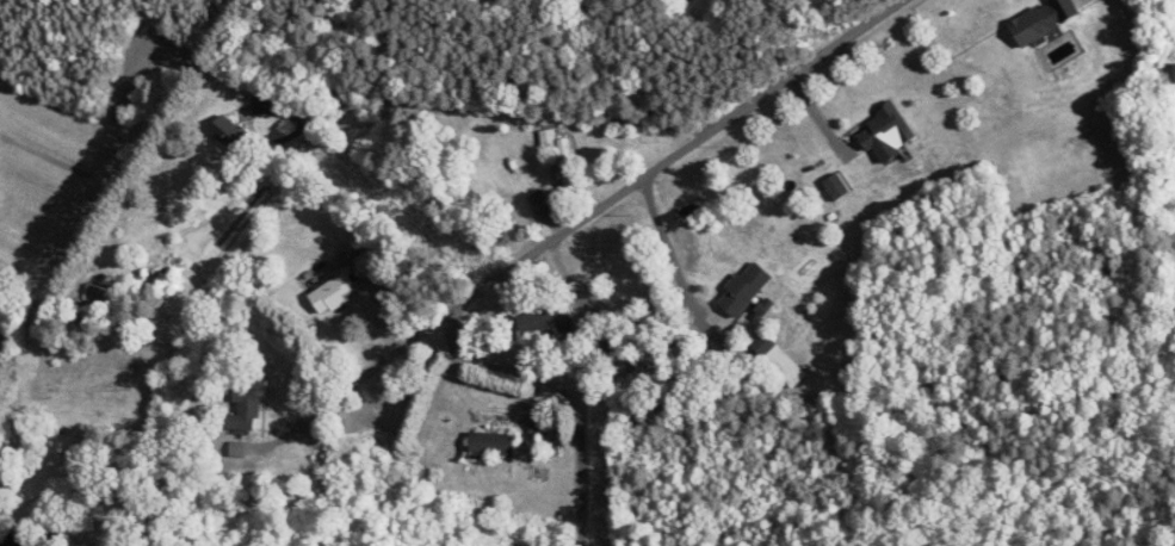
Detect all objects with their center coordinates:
building: (1043, 19)
building: (1169, 73)
road: (477, 106)
building: (886, 128)
building: (229, 134)
road: (287, 136)
building: (548, 137)
road: (617, 184)
road: (666, 241)
building: (743, 288)
building: (333, 292)
building: (544, 317)
building: (613, 333)
building: (779, 360)
road: (579, 386)
building: (247, 407)
road: (301, 422)
building: (490, 443)

